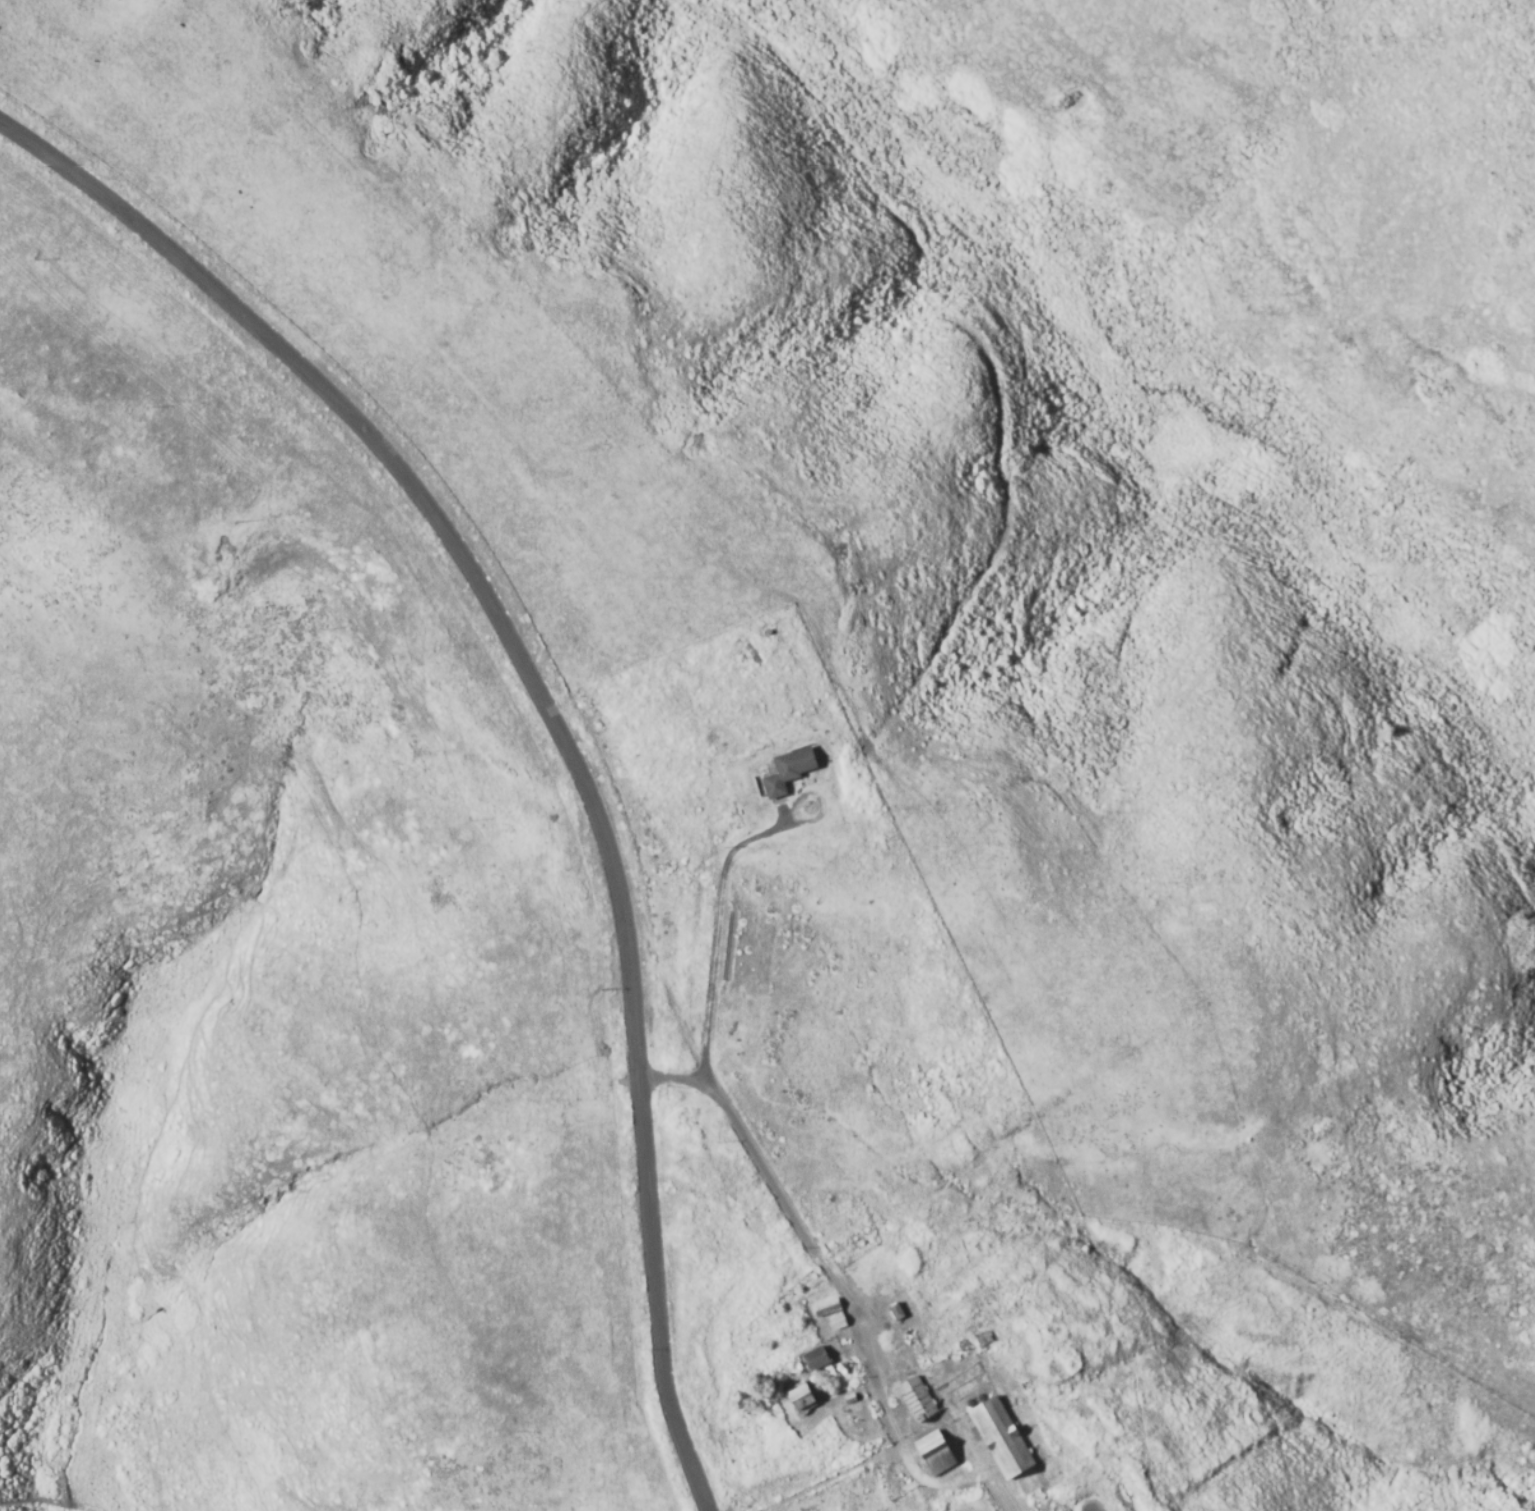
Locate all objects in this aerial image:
road: (518, 660)
building: (788, 769)
road: (717, 934)
road: (799, 1232)
road: (686, 1452)
road: (833, 1479)

